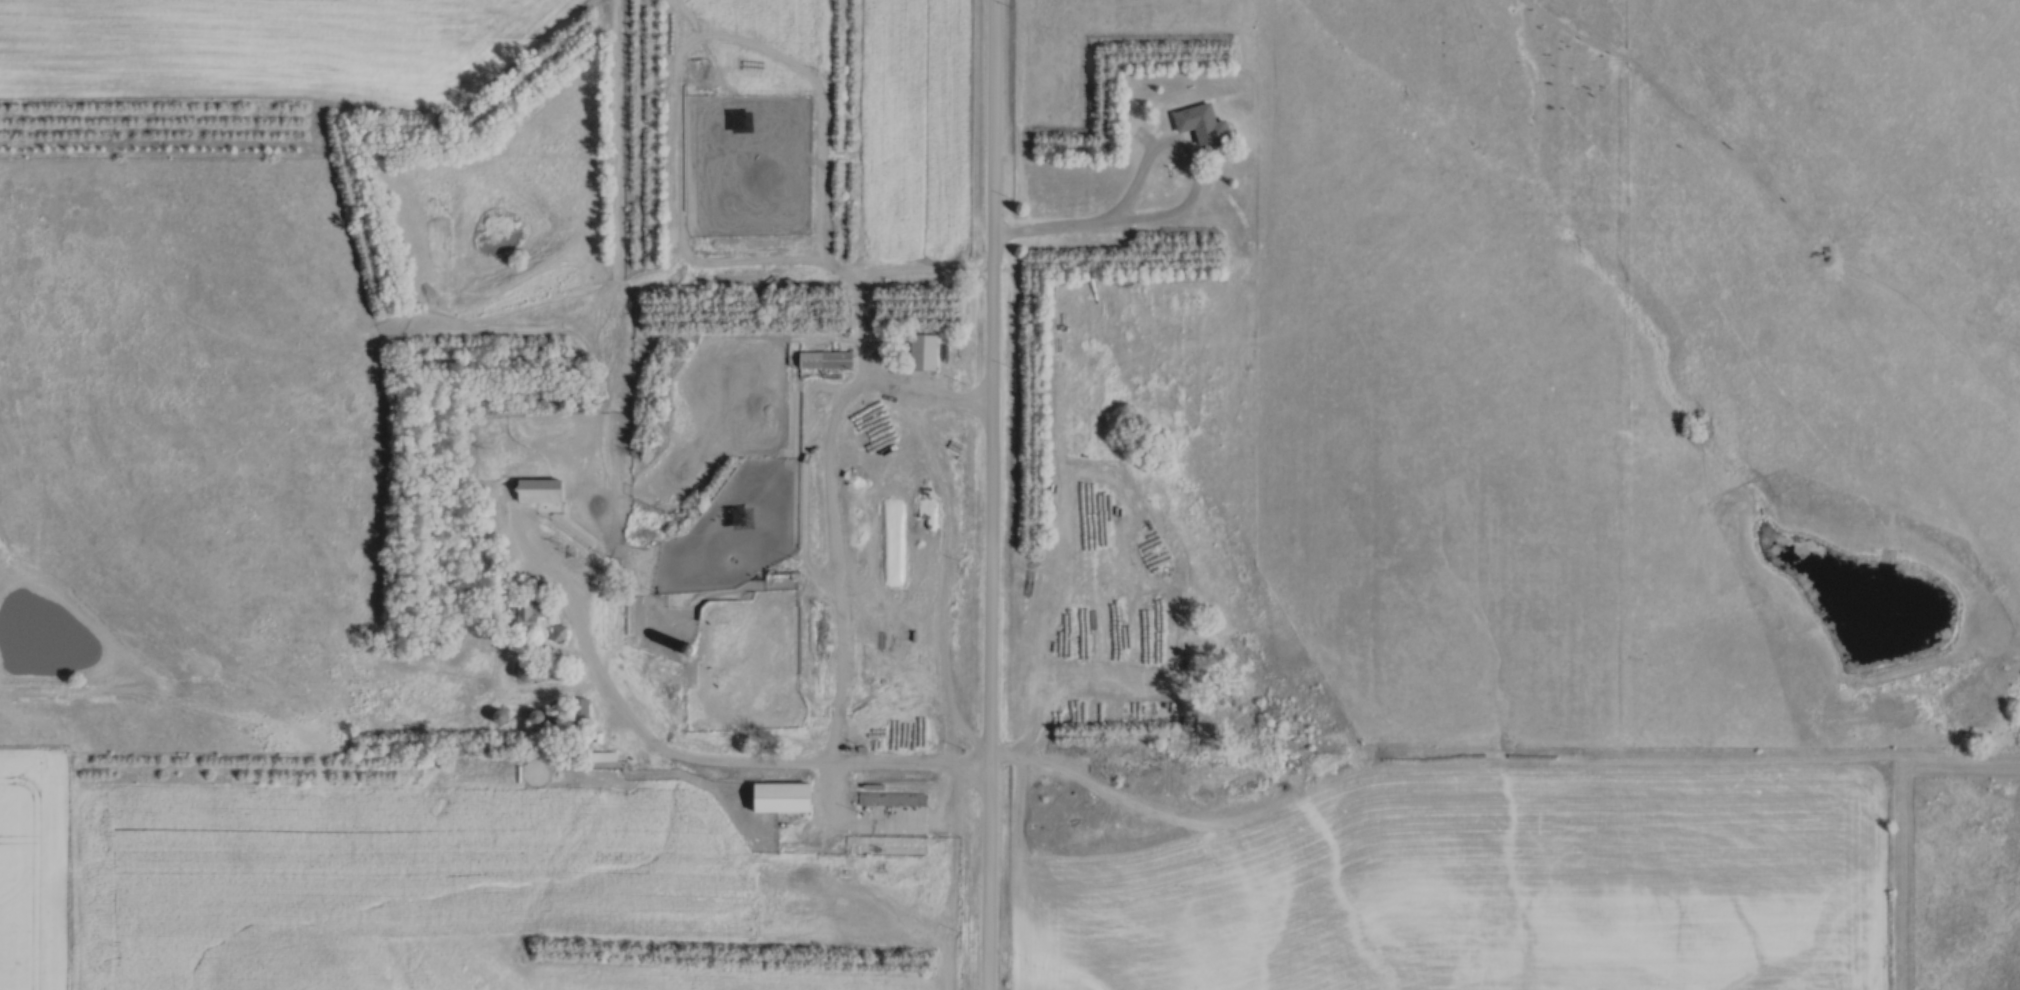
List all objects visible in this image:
building: (1201, 123)
road: (1196, 174)
road: (1046, 234)
building: (926, 351)
building: (825, 359)
building: (537, 491)
road: (990, 495)
road: (826, 499)
building: (913, 556)
building: (530, 614)
building: (557, 633)
building: (694, 650)
building: (537, 716)
road: (669, 752)
building: (1185, 778)
building: (783, 797)
building: (892, 798)

